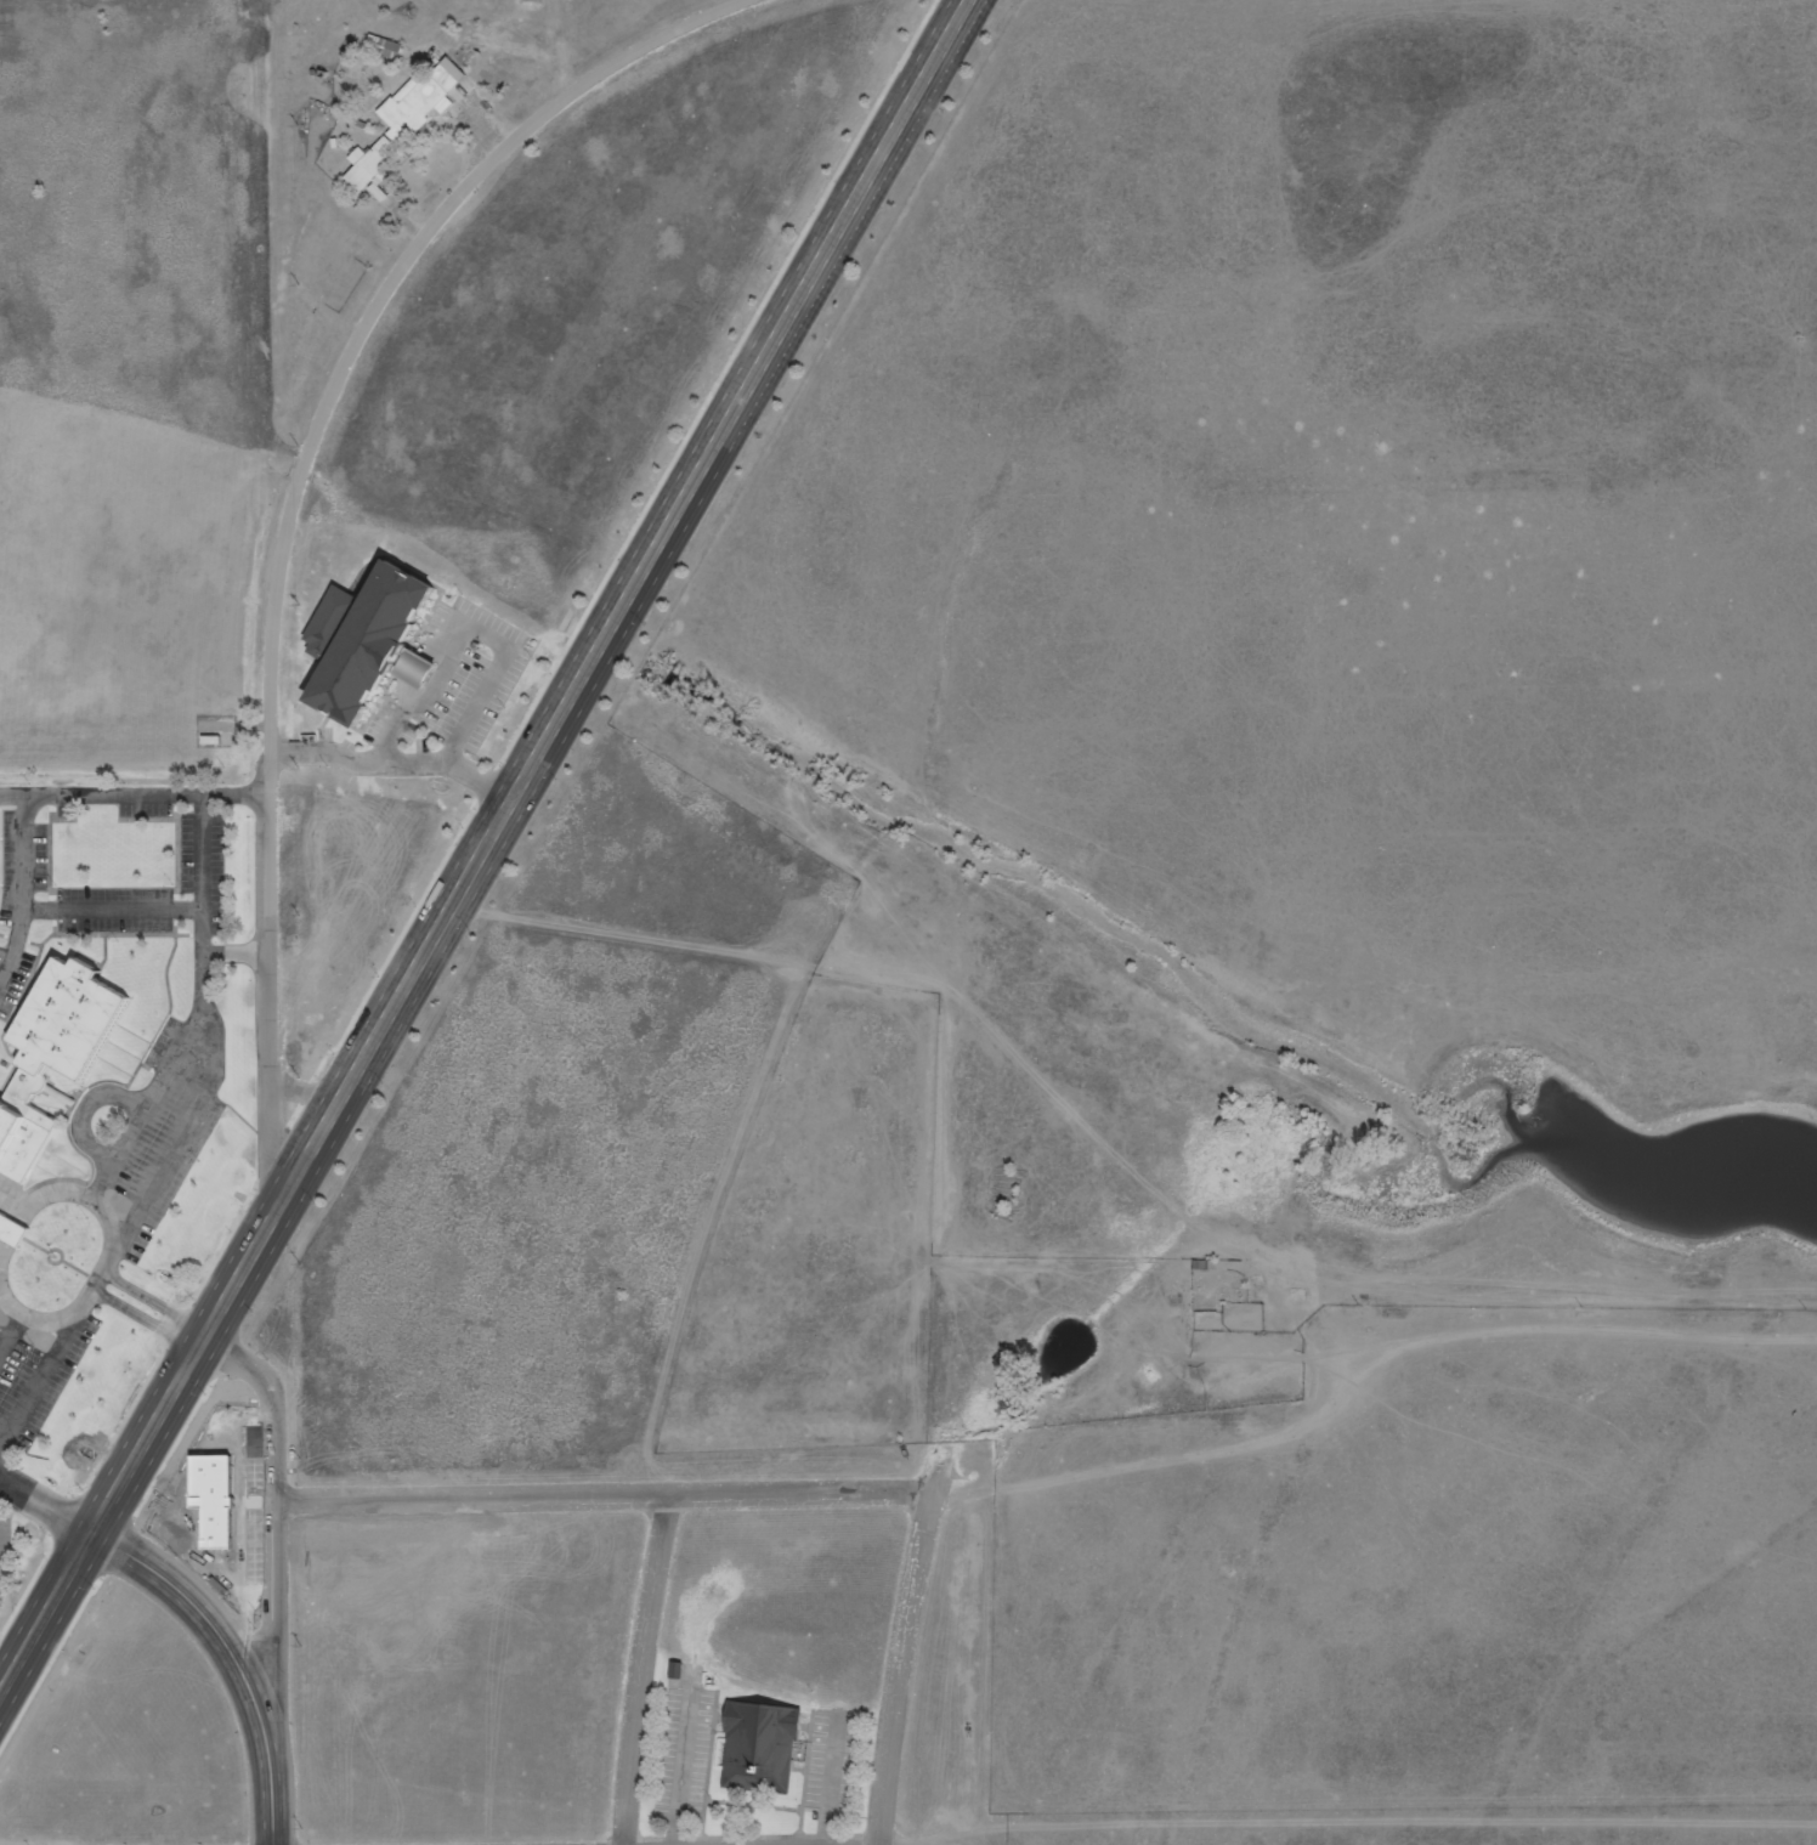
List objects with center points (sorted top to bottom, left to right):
building: (380, 46)
building: (419, 95)
building: (368, 168)
road: (293, 497)
road: (628, 592)
building: (367, 646)
road: (395, 760)
road: (131, 793)
road: (234, 950)
road: (203, 1034)
building: (57, 1063)
road: (146, 1102)
road: (57, 1193)
building: (16, 1234)
road: (141, 1295)
building: (1229, 1297)
road: (131, 1313)
road: (66, 1315)
road: (187, 1334)
road: (145, 1439)
road: (606, 1493)
road: (46, 1502)
road: (273, 1521)
road: (203, 1614)
road: (10, 1659)
road: (907, 1666)
road: (647, 1668)
building: (766, 1750)
road: (270, 1790)

